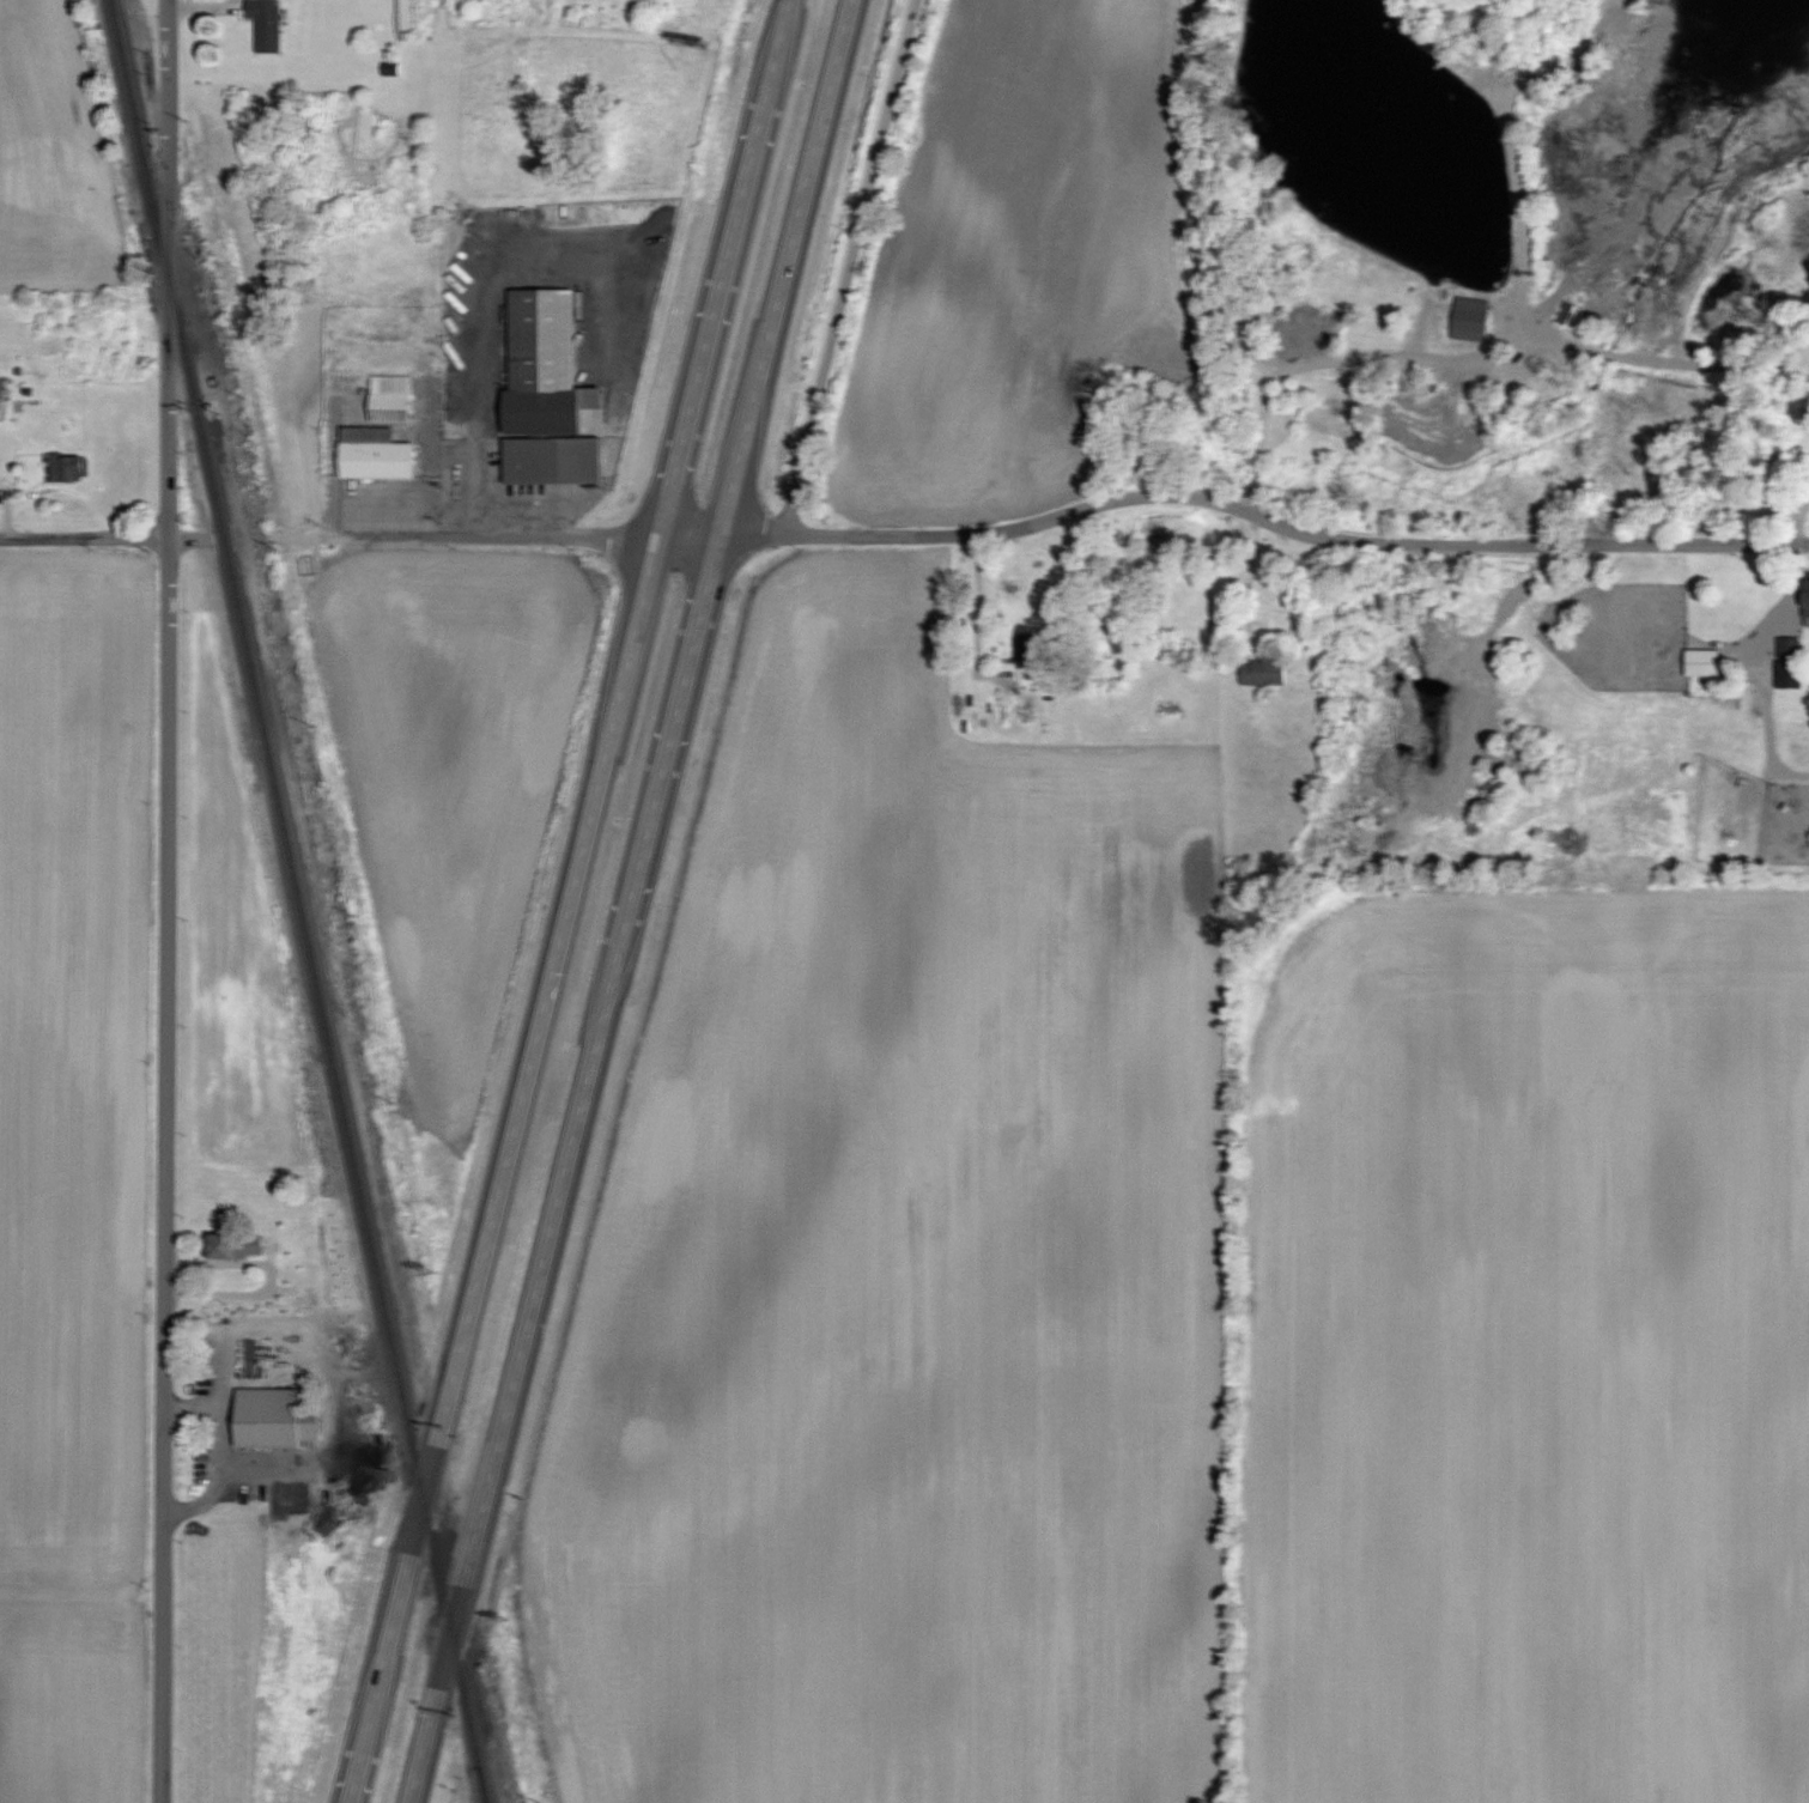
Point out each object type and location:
building: (268, 25)
road: (850, 266)
road: (787, 267)
road: (722, 268)
building: (1571, 316)
building: (1473, 321)
building: (1, 390)
building: (547, 396)
building: (391, 401)
building: (376, 456)
building: (69, 469)
road: (1259, 518)
road: (687, 535)
road: (457, 538)
road: (186, 539)
road: (83, 540)
building: (1807, 607)
building: (1030, 649)
building: (1704, 664)
building: (1790, 667)
building: (1261, 674)
road: (165, 901)
railway: (296, 901)
road: (508, 1170)
road: (570, 1170)
building: (236, 1245)
building: (274, 1420)
road: (219, 1456)

